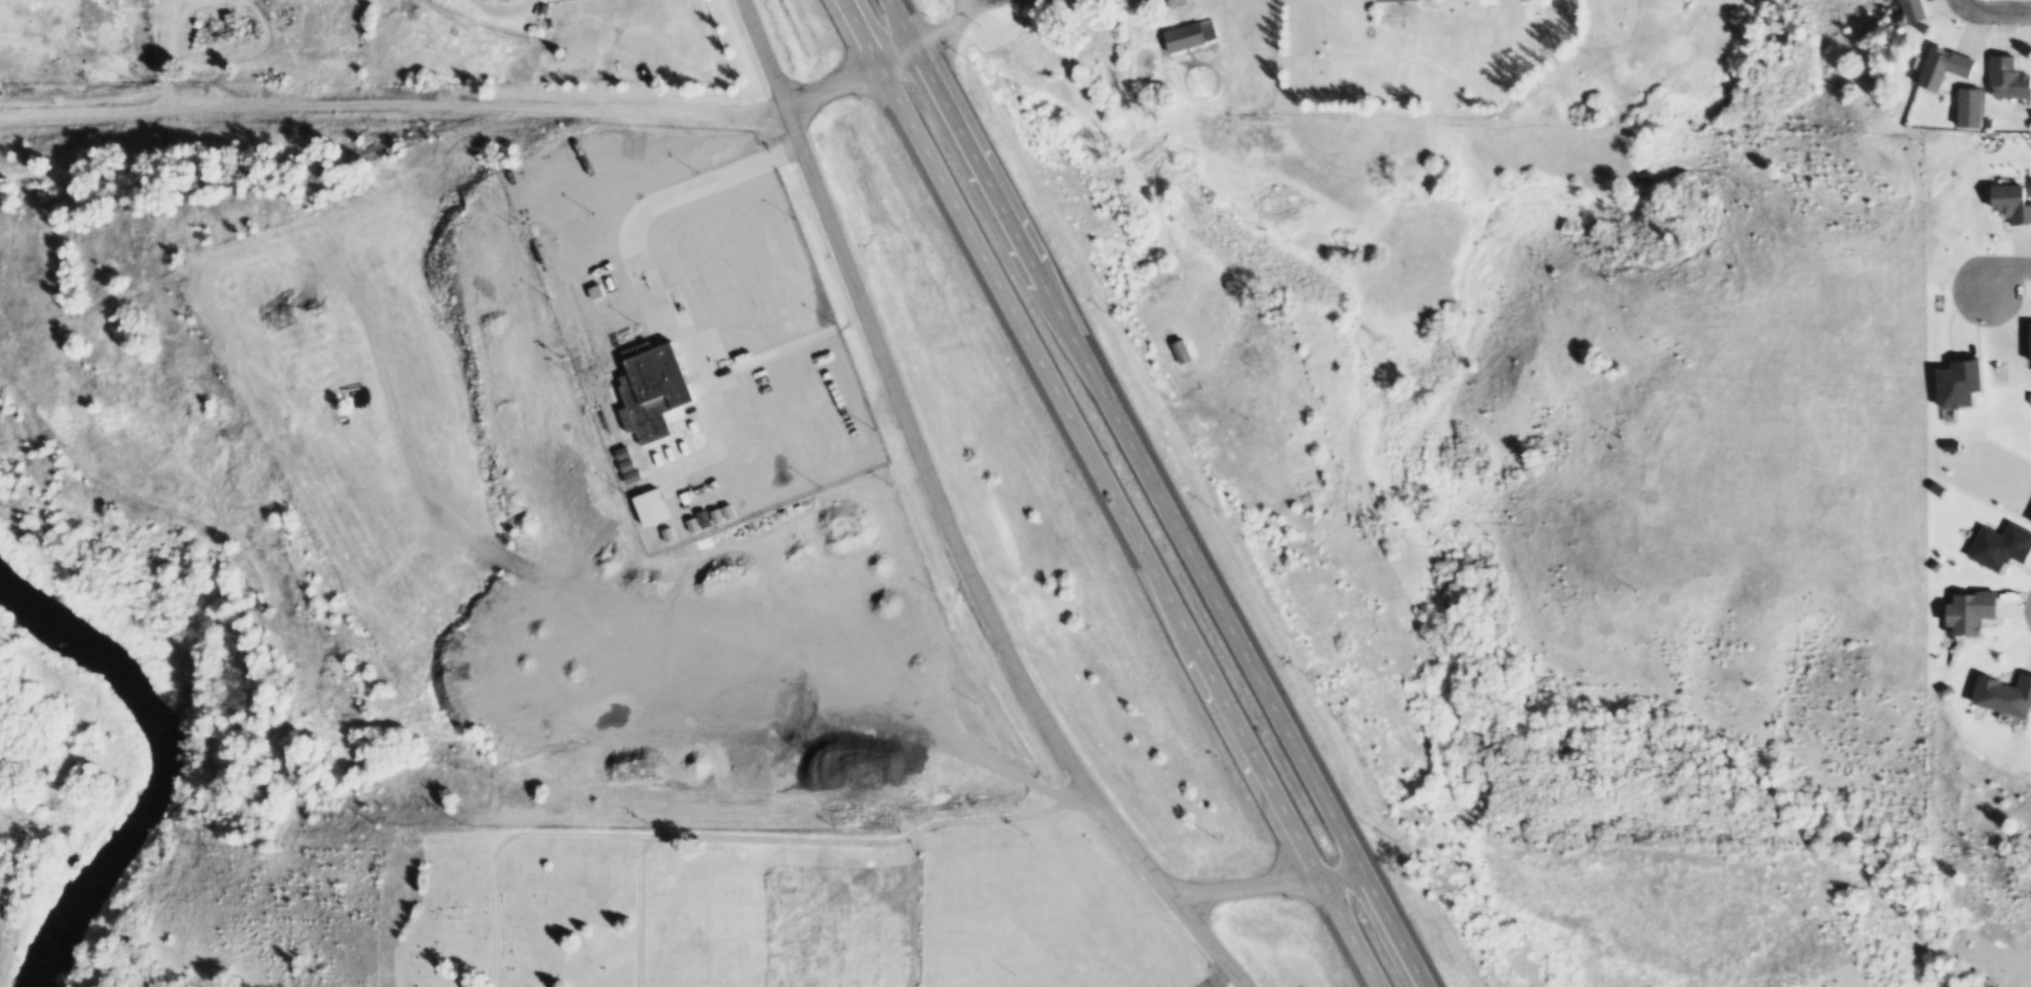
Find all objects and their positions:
building: (1393, 0)
building: (1172, 3)
road: (1971, 4)
building: (1915, 11)
road: (2003, 13)
building: (1186, 37)
road: (165, 56)
building: (1945, 66)
building: (2009, 79)
building: (1972, 107)
road: (505, 111)
building: (1989, 125)
road: (641, 218)
road: (2000, 276)
building: (1187, 351)
road: (761, 358)
building: (645, 395)
road: (864, 403)
building: (624, 452)
building: (628, 464)
building: (635, 475)
road: (1162, 491)
road: (1117, 493)
building: (653, 505)
building: (730, 510)
building: (718, 514)
building: (705, 518)
road: (949, 520)
building: (694, 524)
building: (682, 528)
building: (670, 533)
quarry: (706, 652)
river: (155, 765)
road: (1001, 812)
road: (634, 833)
road: (1269, 880)
park: (652, 907)
road: (914, 909)
road: (641, 910)

